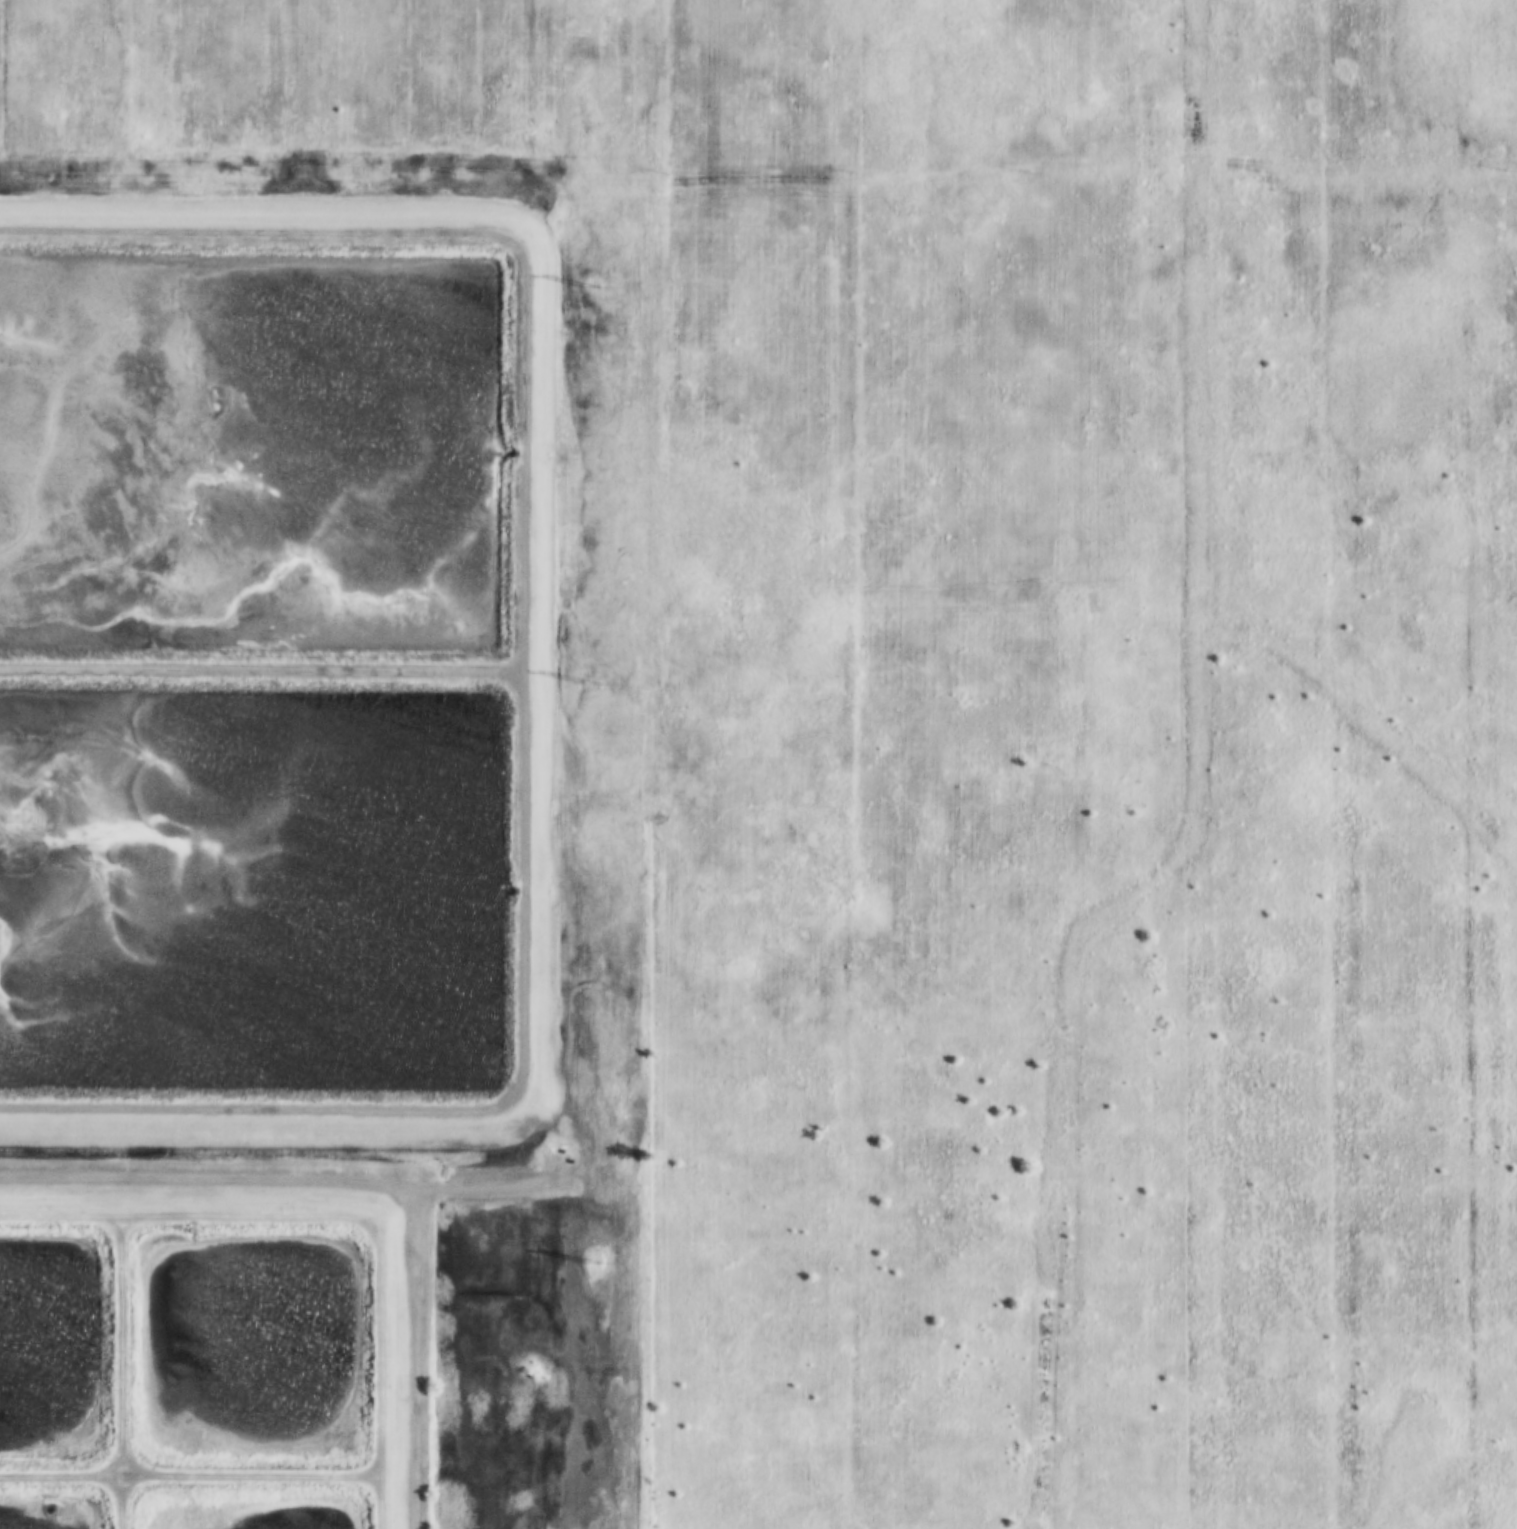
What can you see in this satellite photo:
power tower: (594, 287)
power tower: (594, 686)
power tower: (593, 1263)

